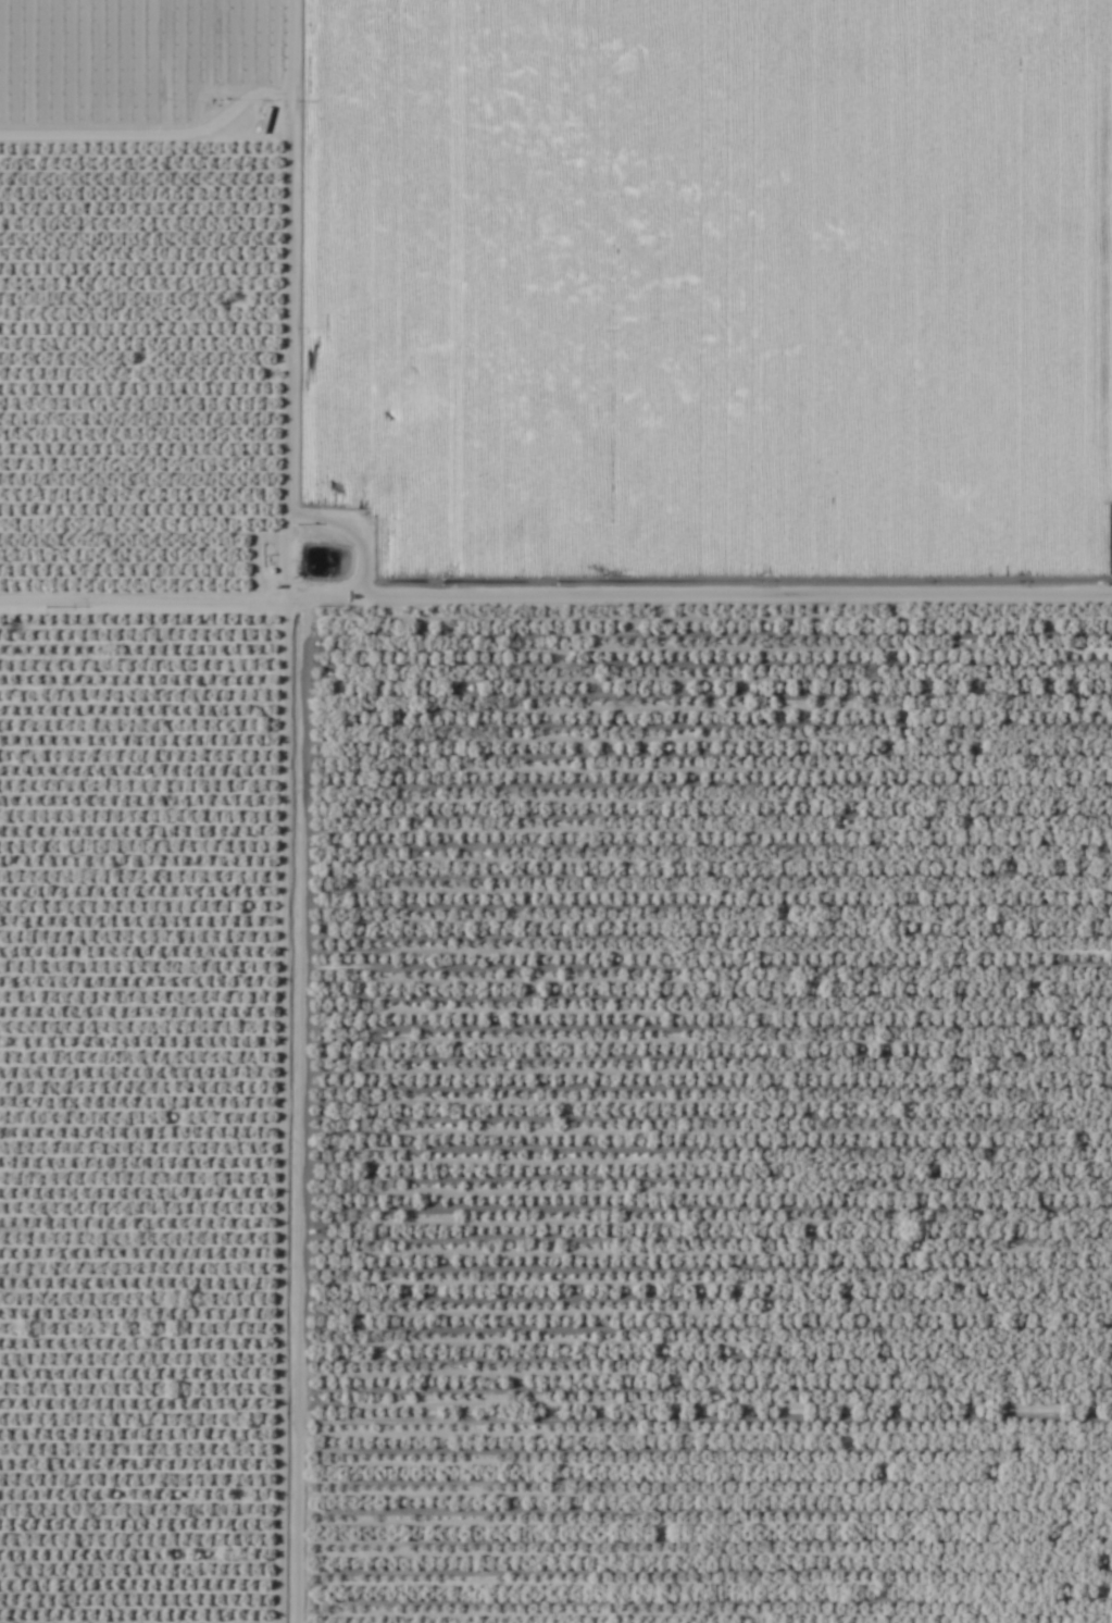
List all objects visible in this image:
wastewater plant: (323, 557)
road: (555, 593)

